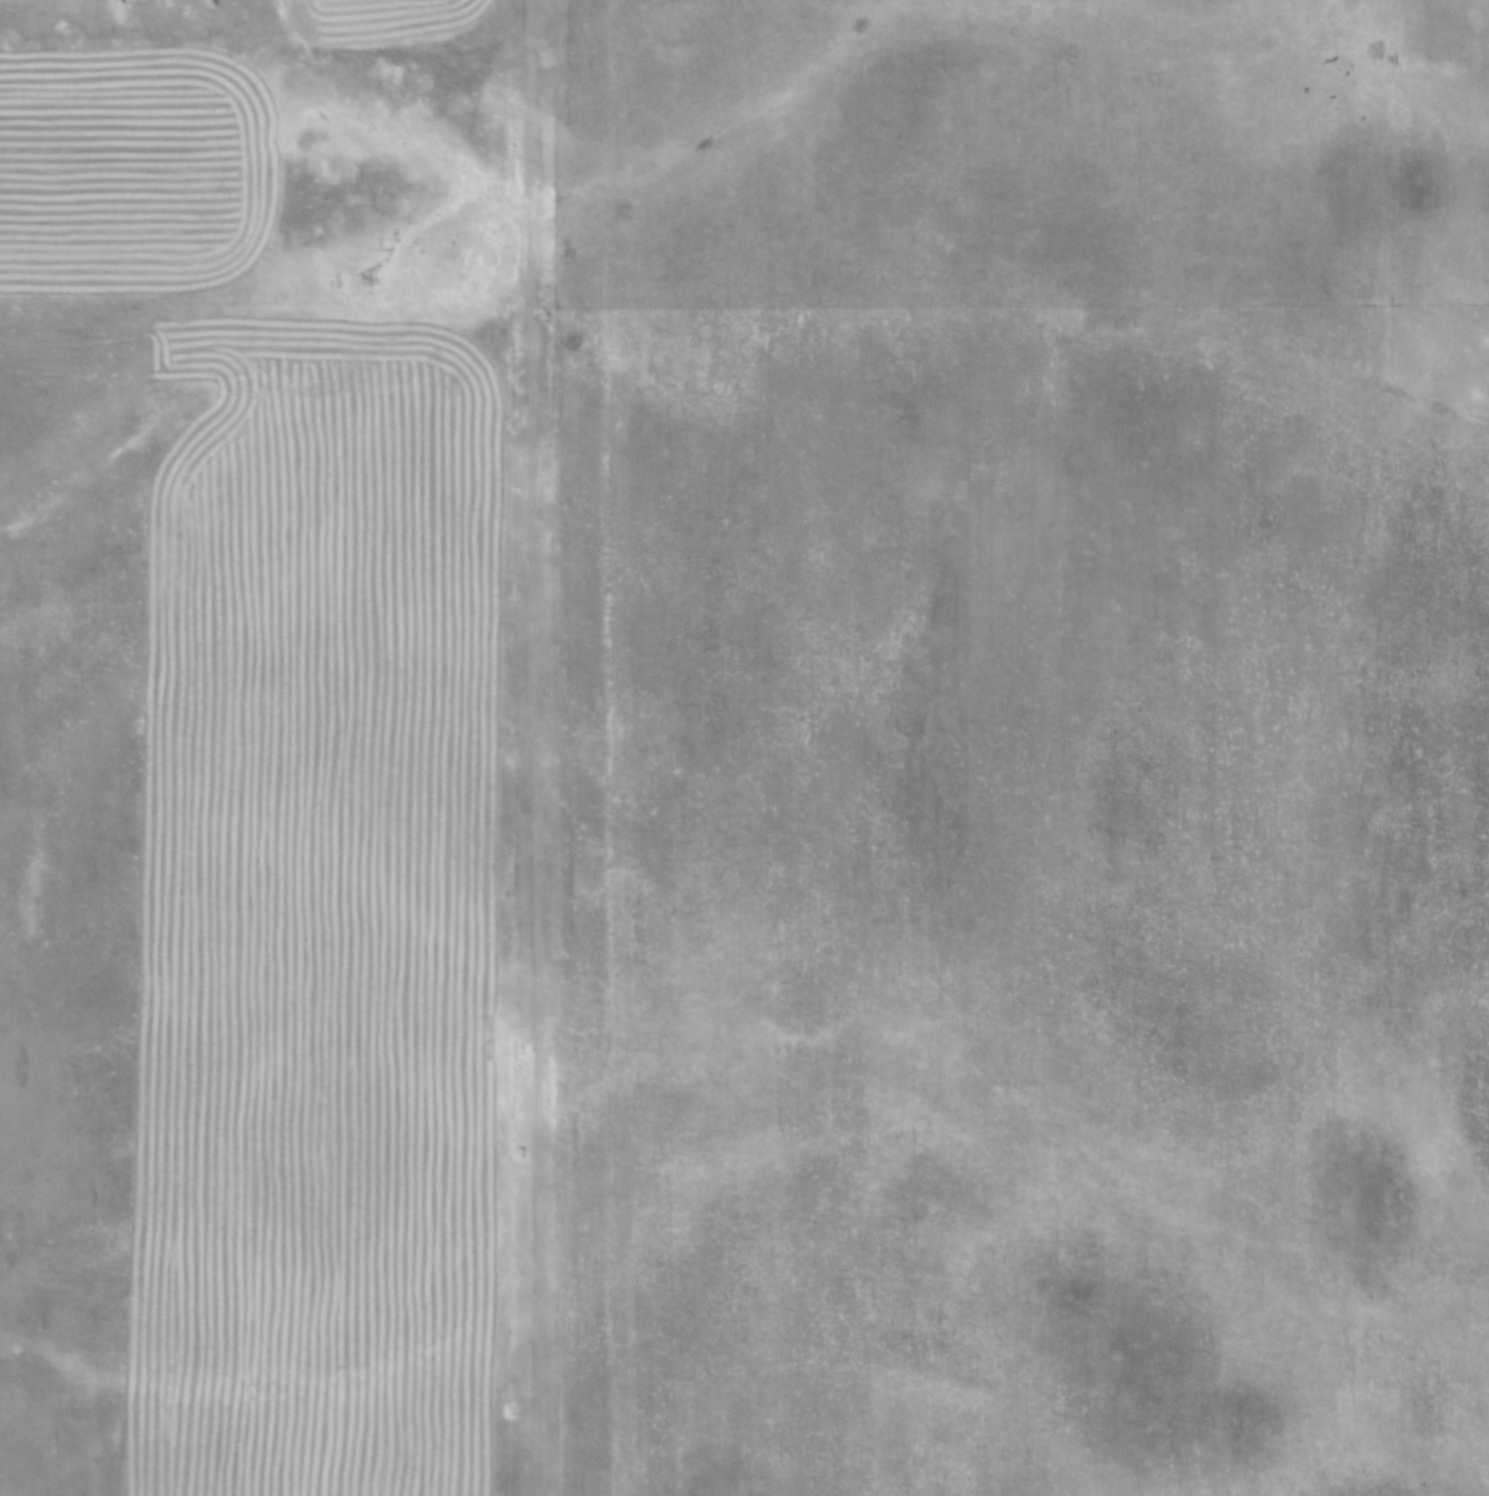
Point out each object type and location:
road: (145, 329)
road: (533, 747)

